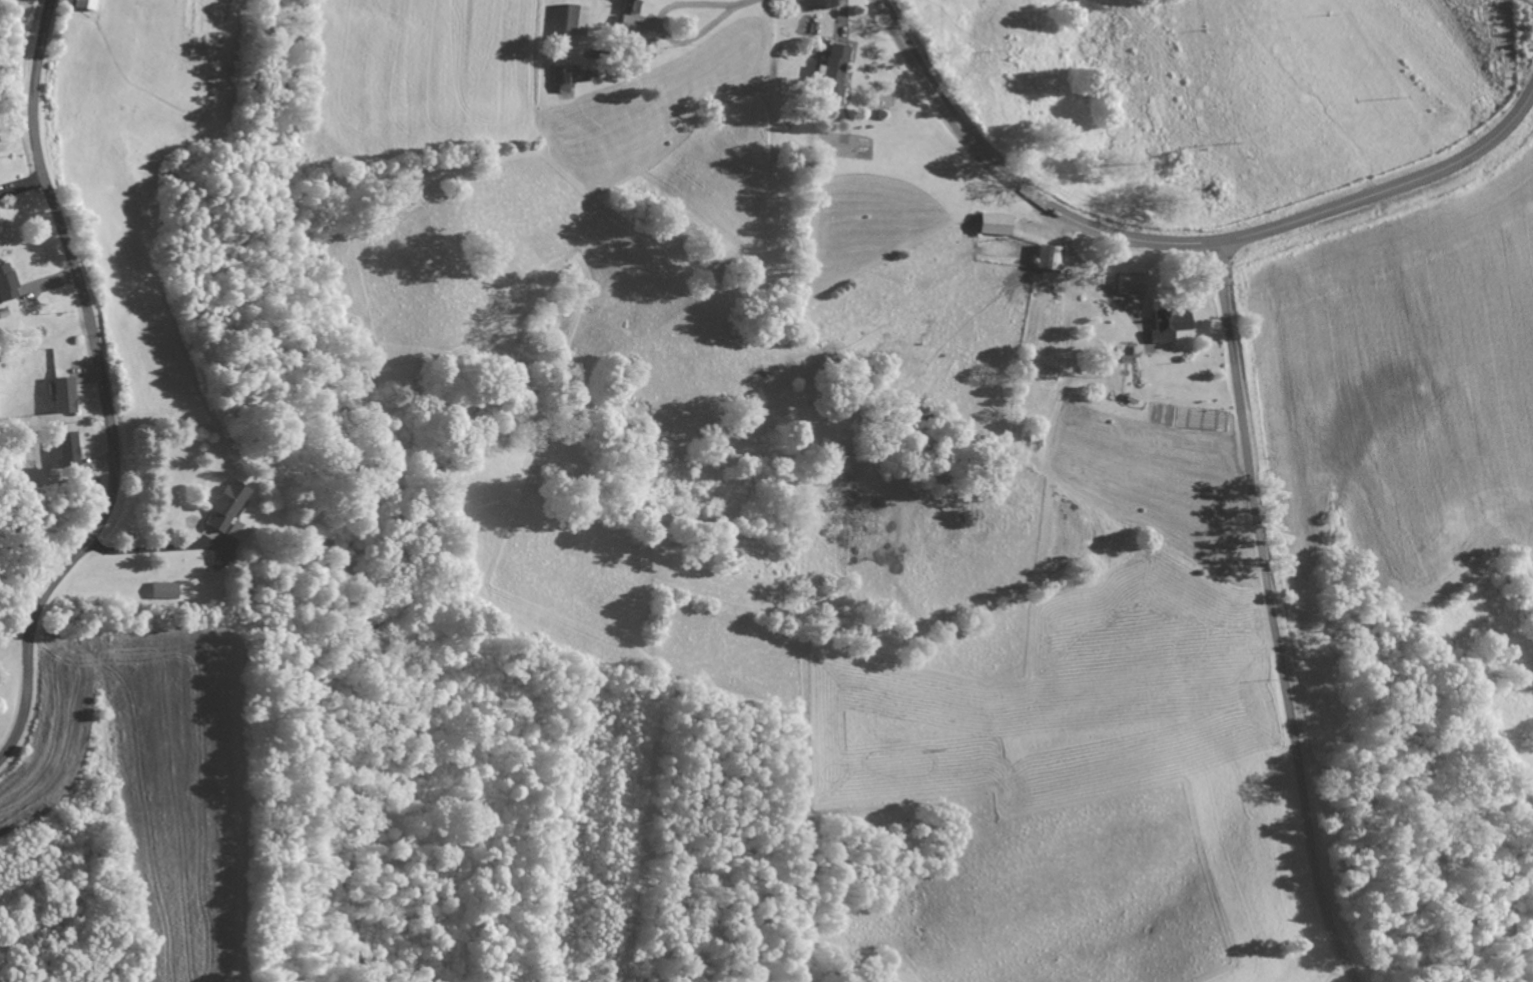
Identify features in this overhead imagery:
building: (85, 4)
building: (574, 20)
building: (630, 24)
building: (834, 71)
building: (564, 75)
building: (994, 224)
road: (1173, 244)
building: (1049, 258)
building: (7, 283)
building: (1124, 283)
building: (1167, 324)
building: (1123, 355)
road: (101, 388)
building: (64, 395)
building: (68, 449)
building: (226, 505)
building: (236, 531)
building: (164, 589)
road: (1269, 615)
road: (164, 680)

